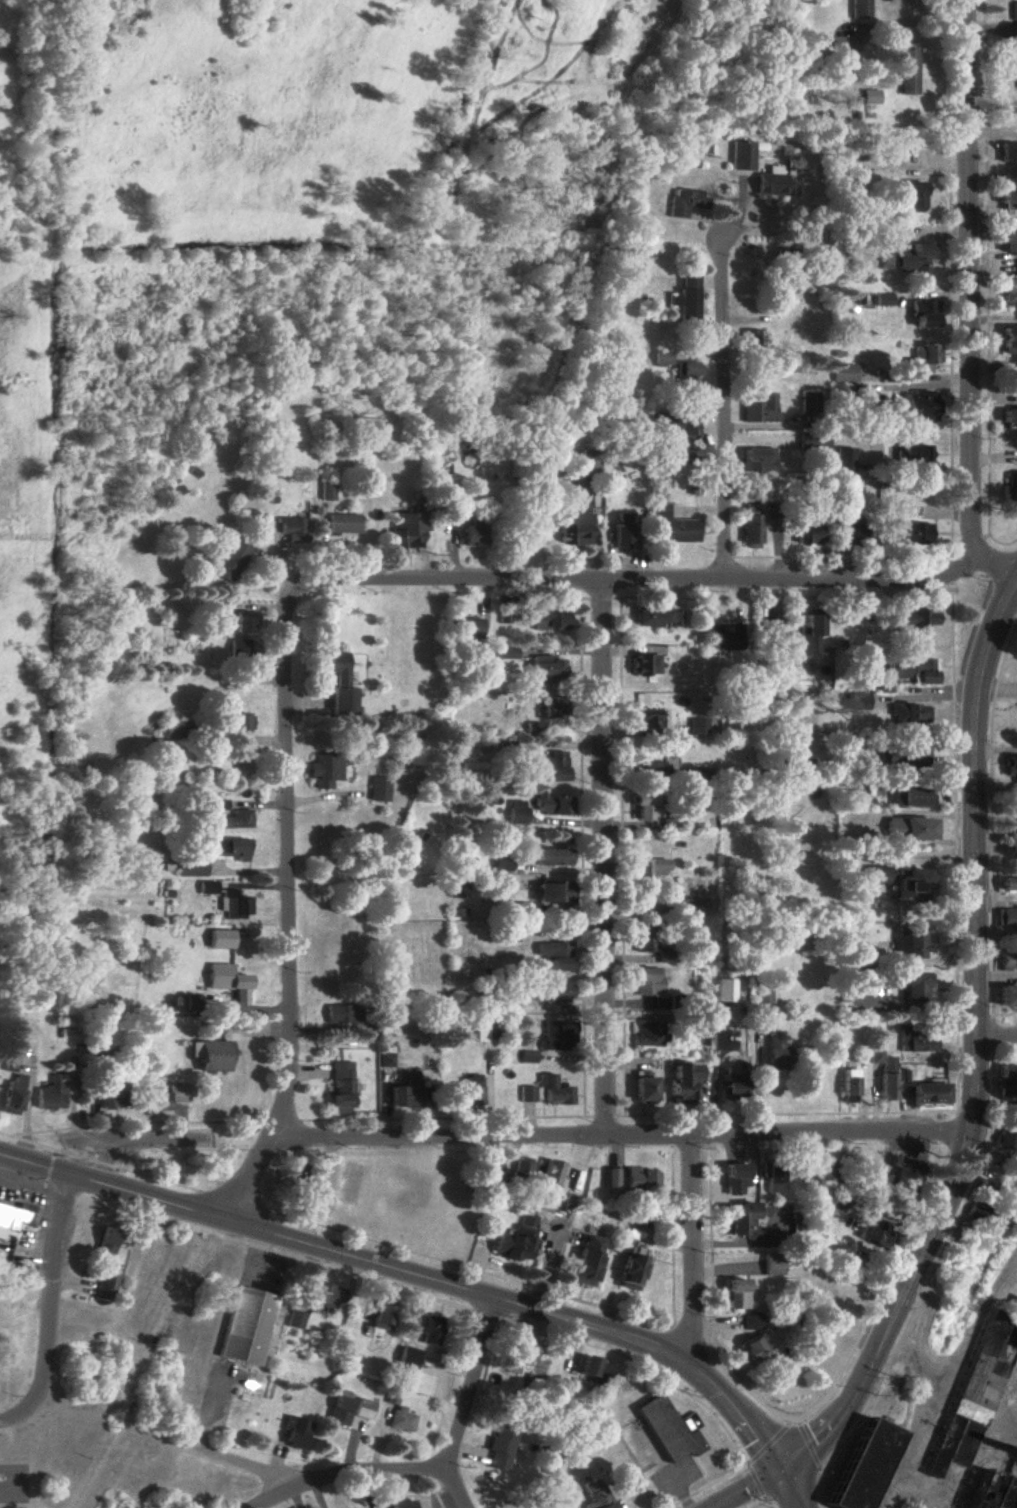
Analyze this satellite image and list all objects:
building: (858, 9)
building: (1014, 12)
road: (917, 16)
building: (905, 71)
building: (1016, 75)
building: (868, 96)
building: (1012, 152)
building: (743, 155)
building: (912, 196)
building: (1009, 198)
building: (685, 202)
building: (1009, 245)
building: (913, 258)
building: (1008, 292)
building: (687, 297)
building: (882, 299)
road: (972, 299)
building: (922, 312)
building: (750, 338)
building: (1009, 339)
road: (987, 350)
building: (922, 357)
building: (661, 358)
road: (951, 369)
building: (844, 373)
building: (686, 375)
building: (808, 402)
road: (725, 403)
building: (921, 405)
building: (760, 409)
building: (1009, 417)
building: (677, 425)
building: (813, 442)
building: (911, 456)
building: (758, 459)
building: (844, 459)
building: (589, 462)
building: (1011, 485)
building: (325, 491)
building: (748, 509)
building: (341, 523)
building: (576, 524)
building: (671, 525)
building: (407, 528)
building: (292, 529)
building: (621, 531)
building: (750, 531)
building: (851, 531)
building: (807, 532)
building: (915, 533)
building: (470, 535)
building: (230, 560)
road: (952, 571)
road: (639, 581)
building: (503, 617)
building: (657, 617)
building: (914, 617)
building: (547, 618)
building: (237, 620)
building: (467, 626)
building: (725, 634)
building: (774, 635)
building: (806, 637)
building: (237, 647)
road: (1005, 649)
building: (501, 652)
building: (645, 664)
building: (546, 668)
building: (912, 669)
building: (339, 685)
road: (999, 687)
road: (994, 689)
building: (856, 700)
building: (552, 708)
building: (908, 714)
building: (643, 717)
building: (237, 721)
building: (697, 726)
building: (173, 730)
building: (910, 756)
building: (552, 766)
building: (1011, 768)
building: (324, 770)
building: (379, 788)
building: (908, 796)
building: (215, 804)
building: (550, 804)
building: (516, 811)
building: (1016, 817)
building: (233, 819)
building: (905, 828)
building: (230, 848)
road: (953, 850)
building: (549, 856)
road: (604, 858)
building: (502, 860)
road: (989, 860)
building: (189, 866)
building: (653, 866)
building: (1007, 878)
building: (895, 881)
building: (205, 887)
building: (551, 891)
building: (233, 905)
building: (689, 907)
road: (291, 913)
building: (1004, 916)
building: (643, 937)
building: (901, 941)
building: (846, 952)
building: (553, 954)
building: (1005, 963)
building: (226, 979)
building: (645, 981)
building: (911, 987)
building: (719, 990)
building: (555, 993)
building: (1005, 995)
building: (763, 997)
building: (342, 1013)
building: (481, 1032)
building: (648, 1033)
road: (989, 1033)
building: (556, 1035)
road: (994, 1039)
building: (910, 1040)
building: (10, 1049)
building: (770, 1051)
building: (210, 1054)
building: (526, 1056)
building: (870, 1056)
road: (970, 1057)
building: (384, 1059)
building: (882, 1078)
building: (1005, 1079)
building: (680, 1082)
building: (730, 1083)
building: (843, 1085)
building: (340, 1086)
building: (642, 1088)
building: (469, 1090)
building: (544, 1091)
building: (403, 1092)
building: (925, 1092)
building: (52, 1093)
building: (12, 1095)
building: (109, 1098)
road: (783, 1114)
road: (602, 1116)
road: (445, 1119)
road: (281, 1121)
road: (136, 1123)
road: (949, 1133)
road: (9, 1136)
road: (621, 1137)
road: (136, 1139)
building: (1005, 1140)
road: (26, 1141)
road: (706, 1141)
road: (669, 1142)
road: (66, 1152)
road: (55, 1153)
road: (107, 1162)
road: (105, 1164)
building: (519, 1167)
road: (50, 1169)
building: (489, 1170)
building: (821, 1170)
road: (977, 1170)
building: (550, 1173)
building: (900, 1175)
building: (609, 1177)
building: (731, 1177)
building: (770, 1178)
road: (156, 1179)
building: (639, 1179)
building: (981, 1185)
road: (47, 1188)
road: (64, 1195)
road: (232, 1201)
building: (976, 1215)
building: (16, 1218)
building: (736, 1220)
building: (872, 1235)
building: (513, 1240)
building: (106, 1241)
road: (688, 1252)
building: (585, 1260)
building: (769, 1264)
building: (627, 1266)
road: (414, 1277)
road: (58, 1286)
building: (105, 1286)
road: (386, 1286)
road: (921, 1289)
building: (733, 1293)
building: (325, 1294)
road: (553, 1294)
building: (379, 1315)
road: (485, 1315)
building: (294, 1319)
building: (750, 1321)
building: (246, 1325)
road: (670, 1326)
building: (425, 1328)
road: (919, 1332)
road: (686, 1337)
road: (709, 1345)
building: (750, 1349)
building: (517, 1355)
building: (405, 1358)
road: (951, 1365)
road: (640, 1367)
road: (449, 1379)
building: (979, 1396)
road: (867, 1403)
road: (457, 1405)
building: (360, 1408)
building: (337, 1409)
road: (26, 1418)
building: (398, 1419)
road: (793, 1420)
road: (797, 1422)
road: (786, 1423)
building: (665, 1430)
building: (294, 1431)
road: (766, 1444)
road: (808, 1445)
building: (498, 1447)
road: (232, 1462)
building: (863, 1466)
road: (820, 1468)
road: (346, 1476)
traffic signals: (777, 1477)
road: (755, 1482)
road: (887, 1485)
road: (707, 1486)
road: (741, 1490)
road: (786, 1492)
building: (998, 1492)
road: (965, 1493)
building: (593, 1494)
road: (433, 1496)
road: (921, 1498)
road: (879, 1499)
road: (766, 1502)
building: (398, 1504)
road: (758, 1504)
road: (719, 1505)
road: (918, 1506)

